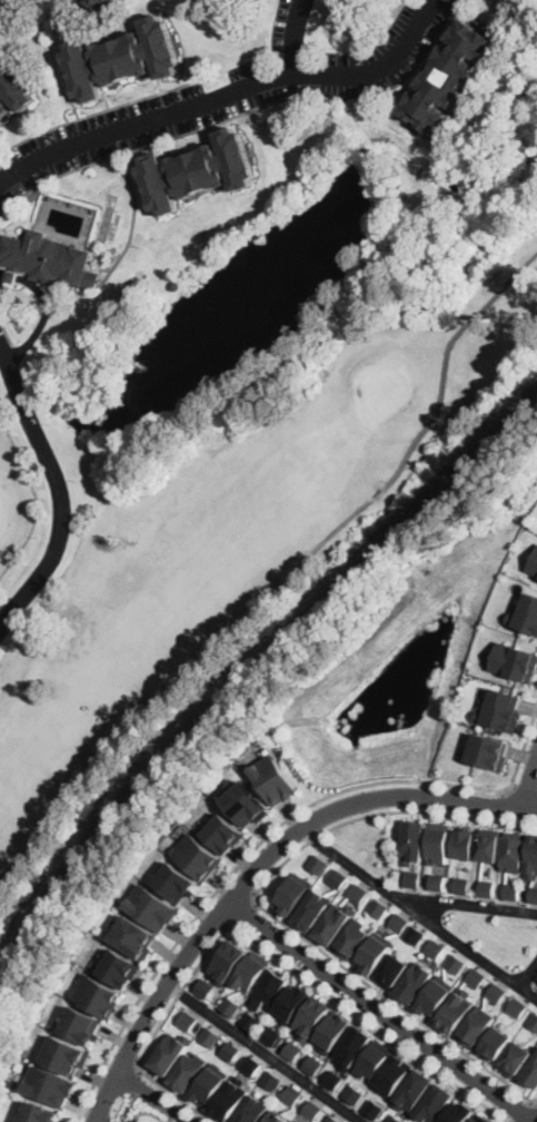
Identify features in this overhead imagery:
building: (3, 3)
building: (103, 3)
road: (295, 37)
building: (122, 58)
building: (448, 75)
building: (13, 88)
road: (226, 92)
building: (197, 170)
building: (48, 259)
building: (175, 285)
road: (46, 309)
road: (60, 492)
park: (222, 538)
building: (534, 563)
building: (528, 613)
railway: (250, 658)
building: (515, 660)
building: (503, 708)
road: (103, 748)
building: (487, 749)
building: (271, 776)
road: (529, 783)
road: (521, 790)
building: (246, 803)
road: (501, 805)
building: (222, 833)
road: (267, 837)
building: (414, 840)
building: (439, 841)
building: (467, 841)
building: (491, 845)
building: (515, 850)
building: (196, 854)
building: (534, 858)
building: (317, 865)
road: (256, 867)
building: (415, 876)
building: (337, 878)
building: (438, 879)
building: (178, 882)
building: (464, 884)
building: (488, 886)
building: (511, 889)
building: (358, 893)
building: (534, 893)
building: (292, 894)
building: (152, 905)
building: (378, 906)
road: (471, 907)
road: (265, 908)
building: (312, 908)
road: (418, 909)
road: (243, 913)
road: (212, 919)
building: (400, 922)
building: (334, 924)
building: (415, 933)
building: (133, 936)
building: (352, 937)
building: (437, 947)
building: (375, 953)
building: (228, 961)
building: (457, 963)
building: (119, 967)
building: (392, 970)
road: (300, 972)
road: (528, 972)
building: (249, 973)
building: (478, 976)
building: (415, 983)
building: (270, 985)
building: (205, 987)
building: (498, 992)
building: (97, 993)
building: (435, 996)
building: (229, 1004)
building: (291, 1004)
building: (517, 1006)
road: (380, 1012)
building: (456, 1012)
building: (312, 1016)
building: (534, 1018)
building: (251, 1020)
building: (189, 1021)
building: (80, 1024)
building: (477, 1026)
building: (332, 1032)
building: (271, 1034)
building: (209, 1036)
building: (496, 1042)
building: (352, 1045)
building: (292, 1049)
road: (127, 1050)
building: (230, 1051)
road: (265, 1052)
building: (62, 1054)
building: (169, 1055)
building: (516, 1057)
building: (371, 1060)
building: (312, 1063)
building: (251, 1064)
road: (138, 1067)
building: (533, 1071)
building: (188, 1072)
building: (392, 1074)
building: (269, 1079)
building: (332, 1079)
road: (136, 1080)
building: (11, 1083)
building: (210, 1084)
building: (49, 1085)
building: (414, 1090)
building: (291, 1093)
road: (156, 1094)
road: (175, 1094)
building: (352, 1094)
building: (229, 1099)
building: (436, 1102)
road: (128, 1108)
park: (138, 1109)
building: (252, 1109)
building: (310, 1109)
building: (372, 1109)
road: (132, 1111)
road: (524, 1111)
building: (38, 1112)
road: (149, 1112)
building: (460, 1112)
building: (277, 1118)
building: (395, 1118)
road: (171, 1119)
building: (331, 1119)
building: (477, 1119)
building: (294, 1121)
building: (295, 1121)

